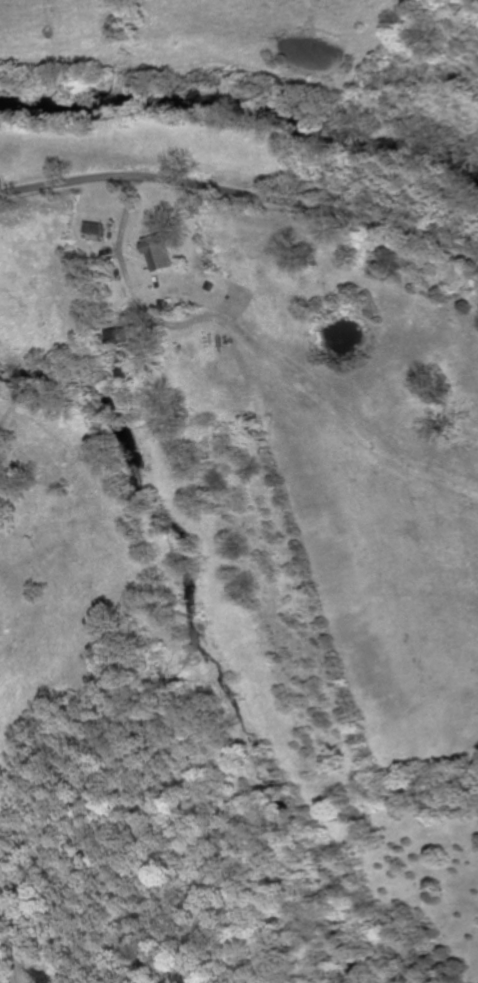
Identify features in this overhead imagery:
road: (242, 194)
building: (93, 231)
building: (157, 253)

